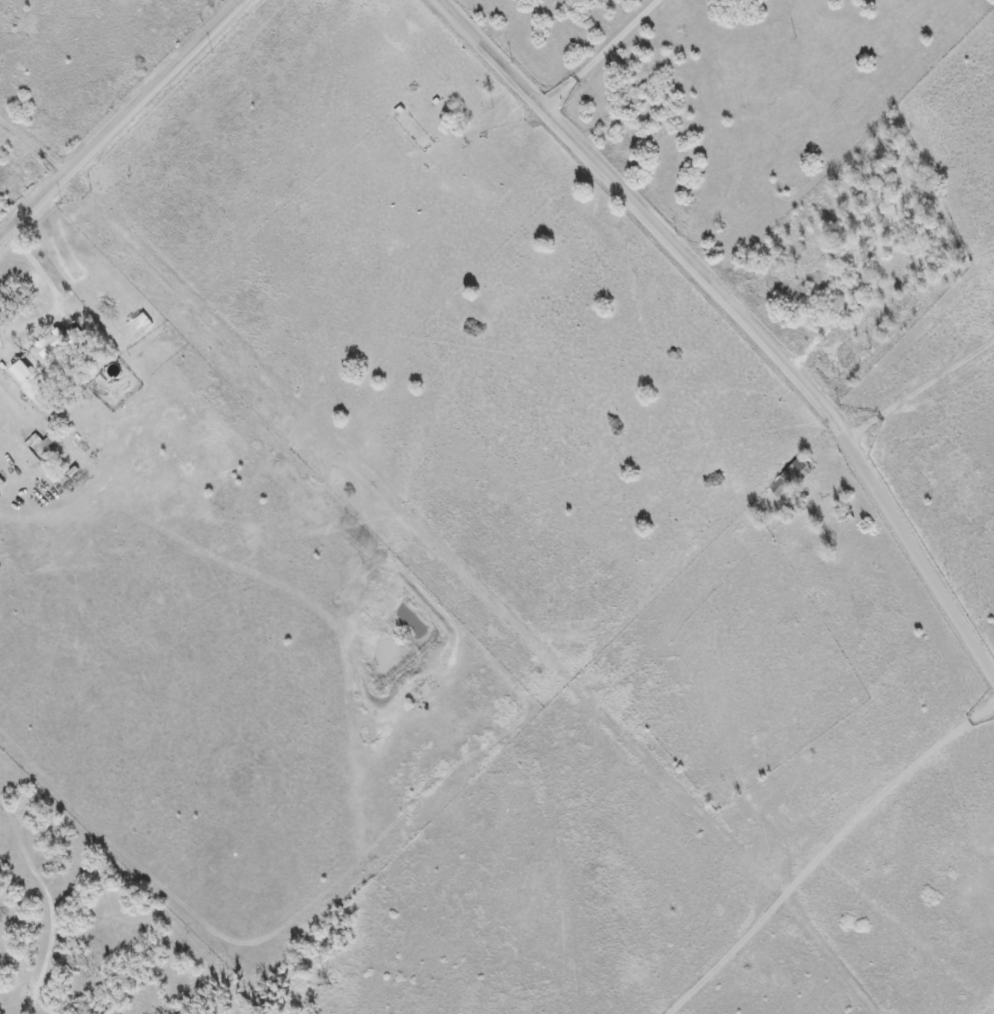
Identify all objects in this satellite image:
road: (557, 42)
road: (600, 51)
road: (121, 119)
road: (745, 314)
building: (59, 343)
building: (22, 370)
road: (940, 458)

